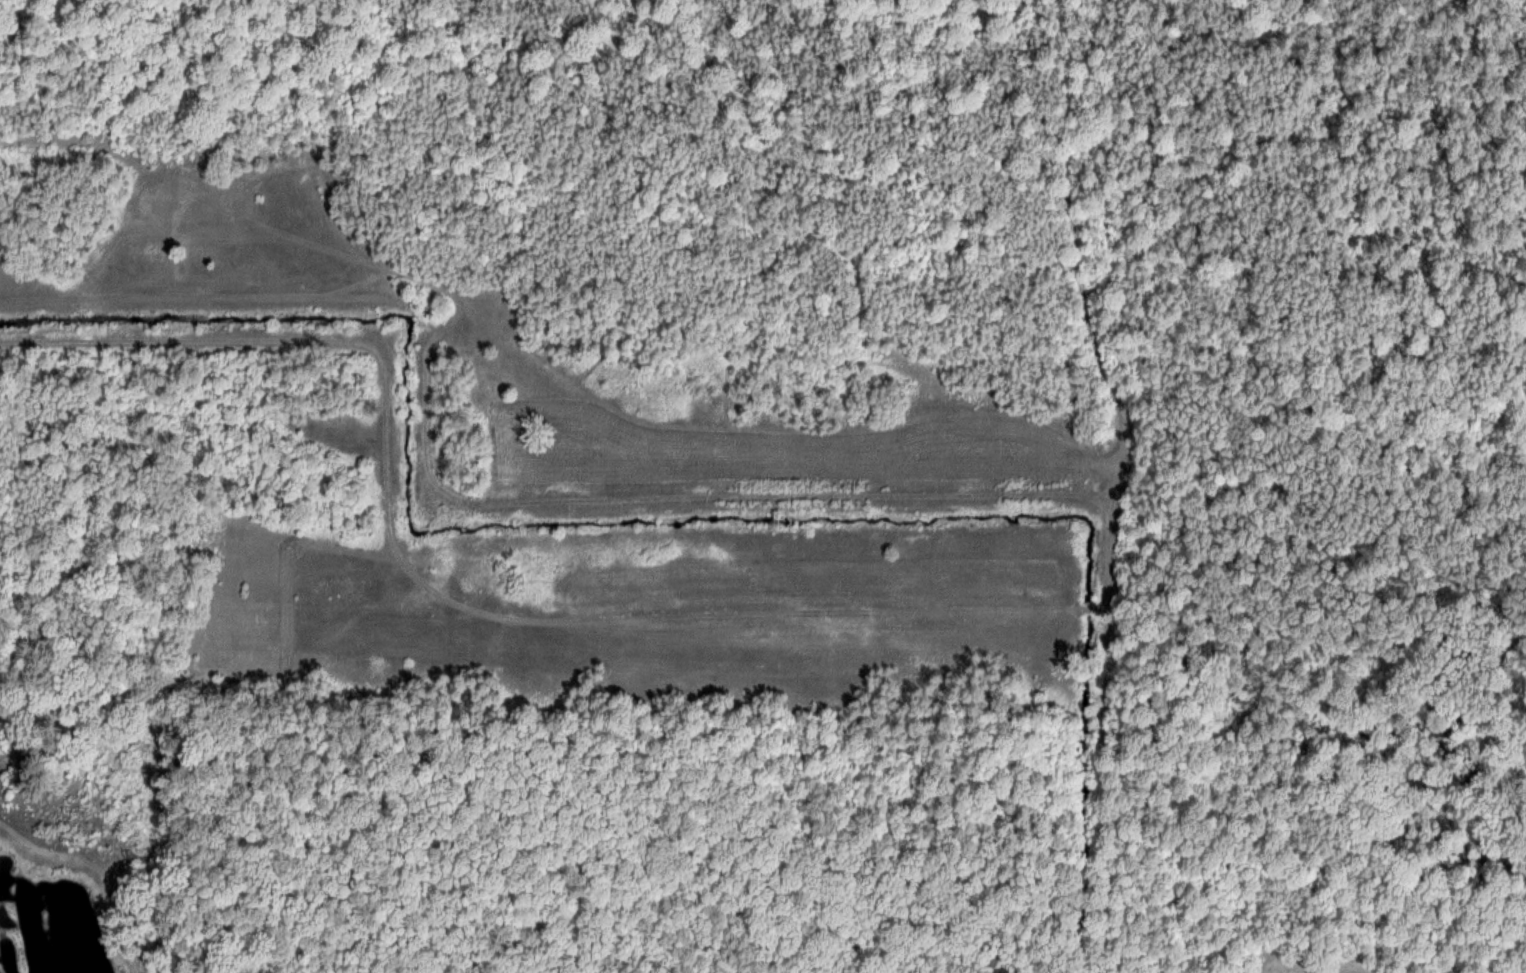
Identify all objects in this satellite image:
road: (1068, 157)
road: (1097, 642)

